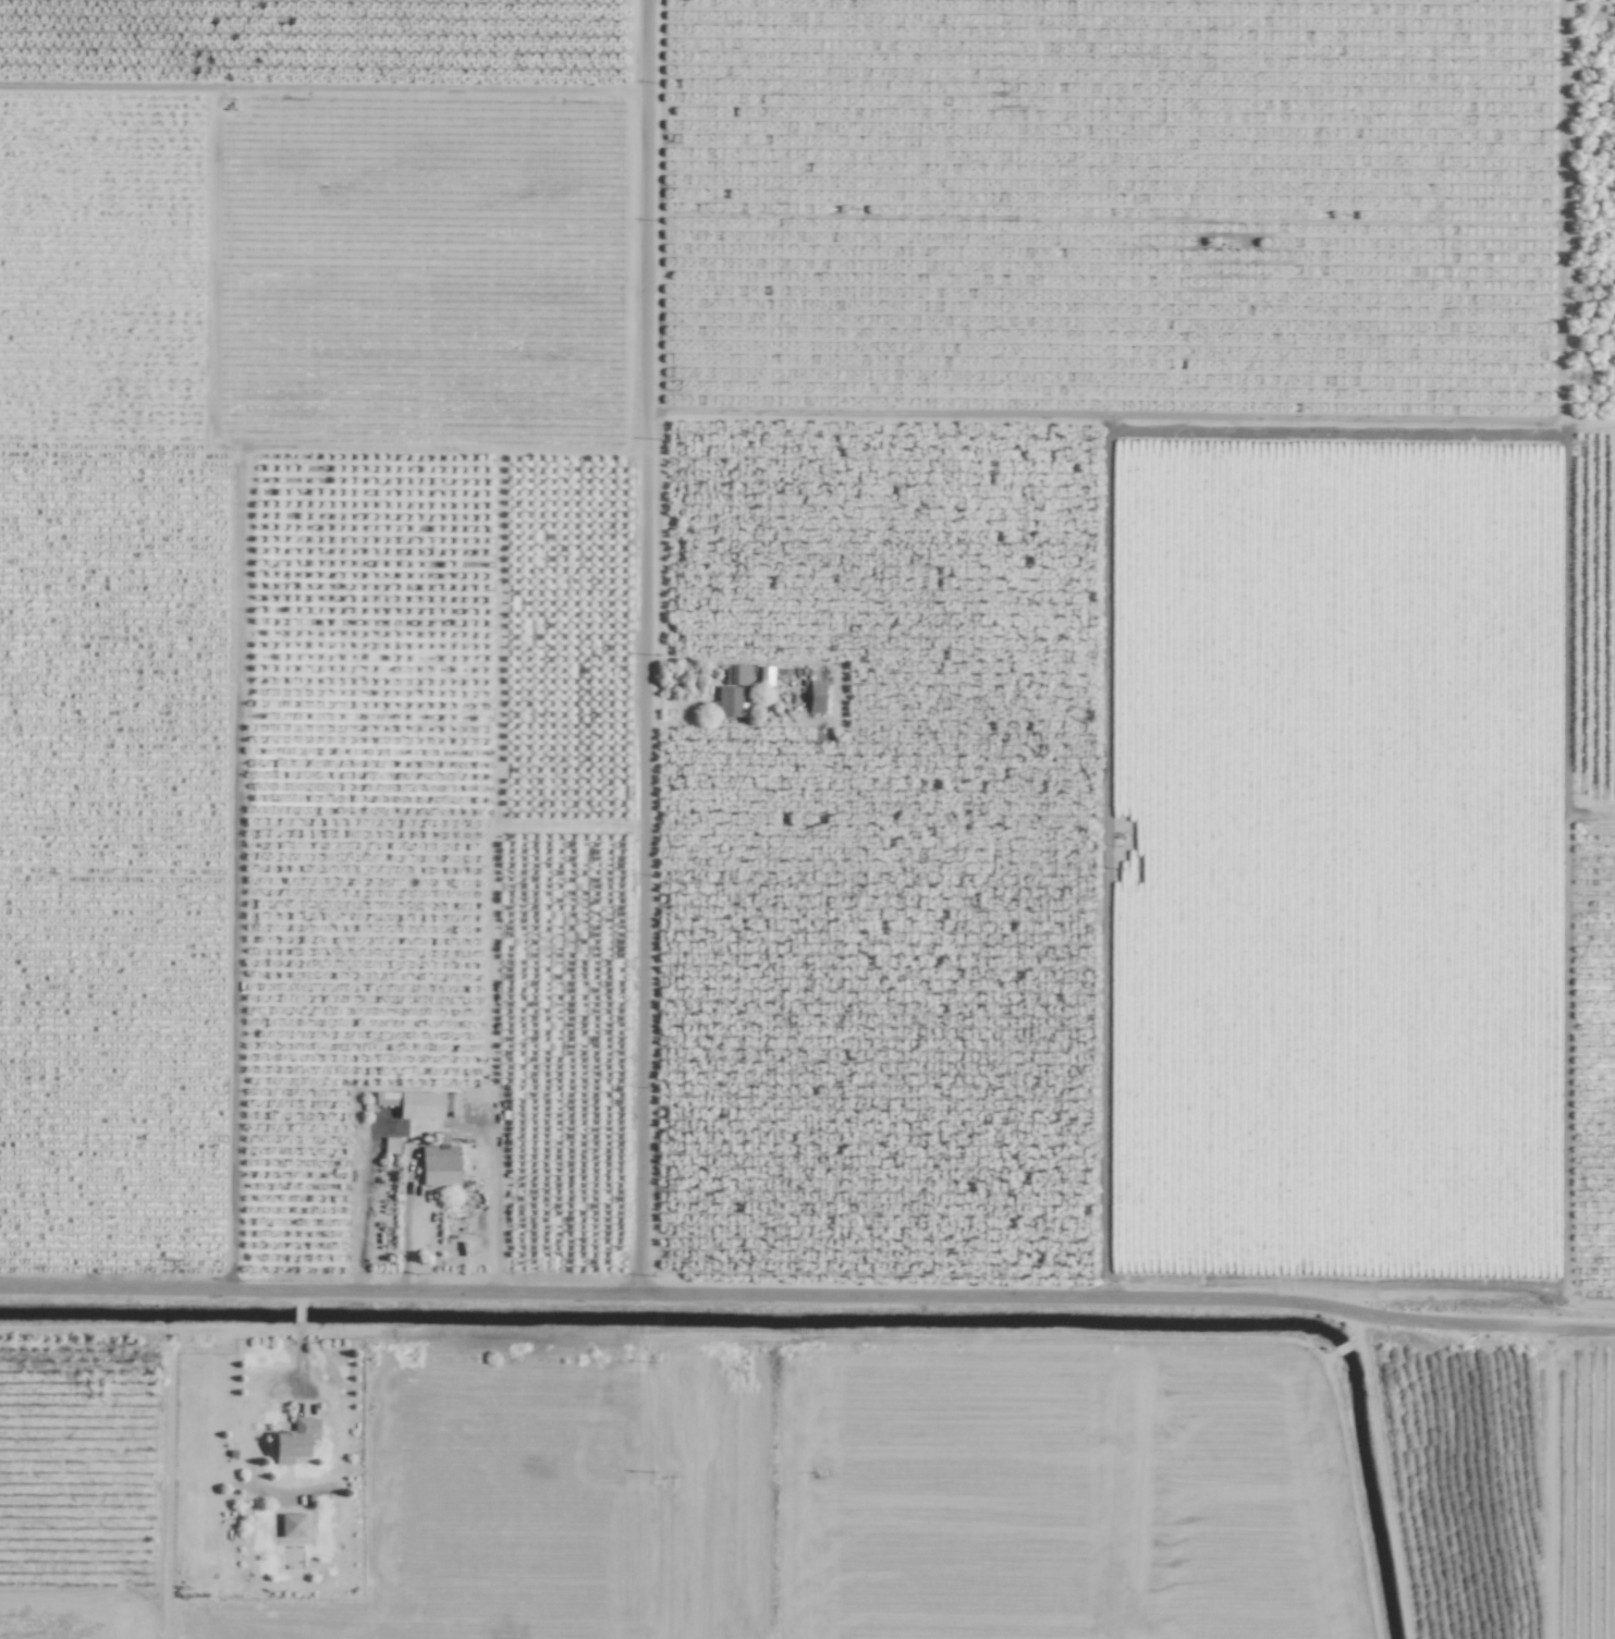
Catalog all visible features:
road: (644, 645)
building: (736, 674)
building: (764, 675)
building: (815, 697)
building: (730, 702)
building: (418, 1103)
road: (449, 1128)
building: (441, 1140)
building: (440, 1177)
road: (366, 1189)
road: (808, 1293)
road: (296, 1298)
road: (297, 1314)
road: (1354, 1330)
road: (1341, 1347)
road: (1328, 1354)
road: (296, 1360)
building: (293, 1442)
building: (291, 1525)

